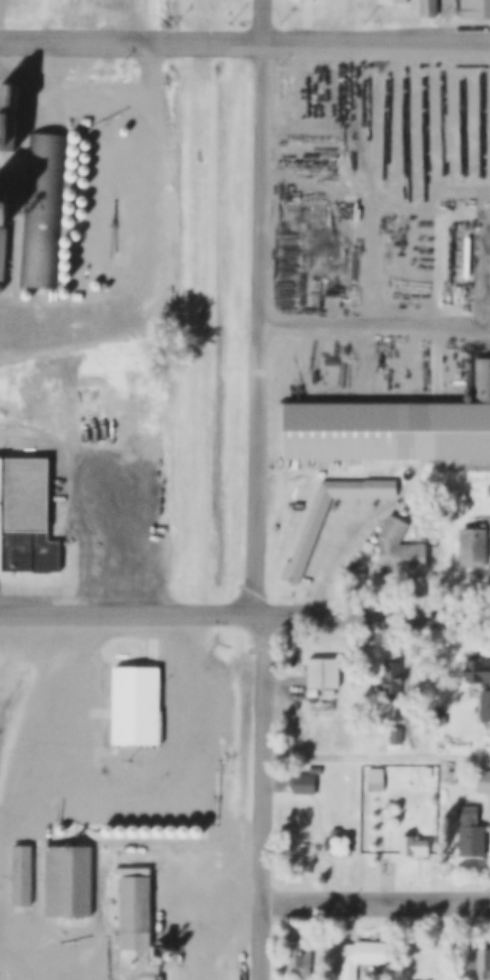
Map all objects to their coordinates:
building: (307, 0)
building: (390, 1)
building: (432, 8)
building: (476, 9)
road: (1, 20)
road: (265, 22)
road: (452, 22)
road: (244, 43)
building: (9, 115)
building: (87, 121)
building: (126, 130)
silo: (126, 130)
building: (76, 136)
silo: (76, 136)
building: (88, 142)
silo: (88, 142)
building: (74, 149)
silo: (74, 149)
building: (87, 155)
silo: (87, 155)
building: (73, 162)
silo: (73, 162)
building: (87, 168)
silo: (87, 168)
building: (72, 175)
silo: (72, 175)
building: (86, 180)
silo: (86, 180)
building: (71, 194)
silo: (71, 194)
building: (84, 199)
silo: (84, 199)
building: (3, 207)
building: (70, 207)
silo: (70, 207)
building: (44, 211)
building: (84, 211)
silo: (84, 211)
building: (69, 220)
silo: (69, 220)
building: (77, 234)
silo: (77, 234)
building: (65, 242)
silo: (65, 242)
building: (2, 249)
building: (65, 254)
silo: (65, 254)
building: (65, 265)
silo: (65, 265)
building: (64, 276)
silo: (64, 276)
building: (104, 283)
silo: (104, 283)
building: (2, 289)
silo: (2, 289)
building: (67, 291)
silo: (67, 291)
building: (29, 294)
silo: (29, 294)
building: (164, 295)
road: (85, 320)
road: (375, 325)
road: (36, 350)
building: (92, 401)
building: (390, 430)
building: (489, 488)
building: (487, 495)
road: (256, 512)
building: (24, 518)
building: (389, 536)
building: (306, 539)
building: (470, 551)
building: (406, 557)
road: (245, 616)
building: (321, 673)
building: (390, 678)
building: (479, 682)
building: (135, 706)
building: (395, 735)
road: (377, 758)
building: (316, 770)
building: (449, 777)
building: (404, 779)
building: (386, 781)
building: (482, 782)
building: (304, 784)
building: (110, 829)
silo: (110, 829)
building: (123, 829)
silo: (123, 829)
building: (136, 829)
silo: (136, 829)
building: (148, 829)
silo: (148, 829)
building: (161, 829)
silo: (161, 829)
building: (173, 829)
silo: (173, 829)
building: (62, 830)
silo: (62, 830)
building: (186, 830)
silo: (186, 830)
building: (198, 830)
silo: (198, 830)
building: (468, 834)
building: (335, 844)
building: (412, 847)
building: (21, 877)
building: (66, 882)
road: (377, 904)
building: (133, 914)
building: (298, 956)
building: (480, 957)
building: (356, 958)

